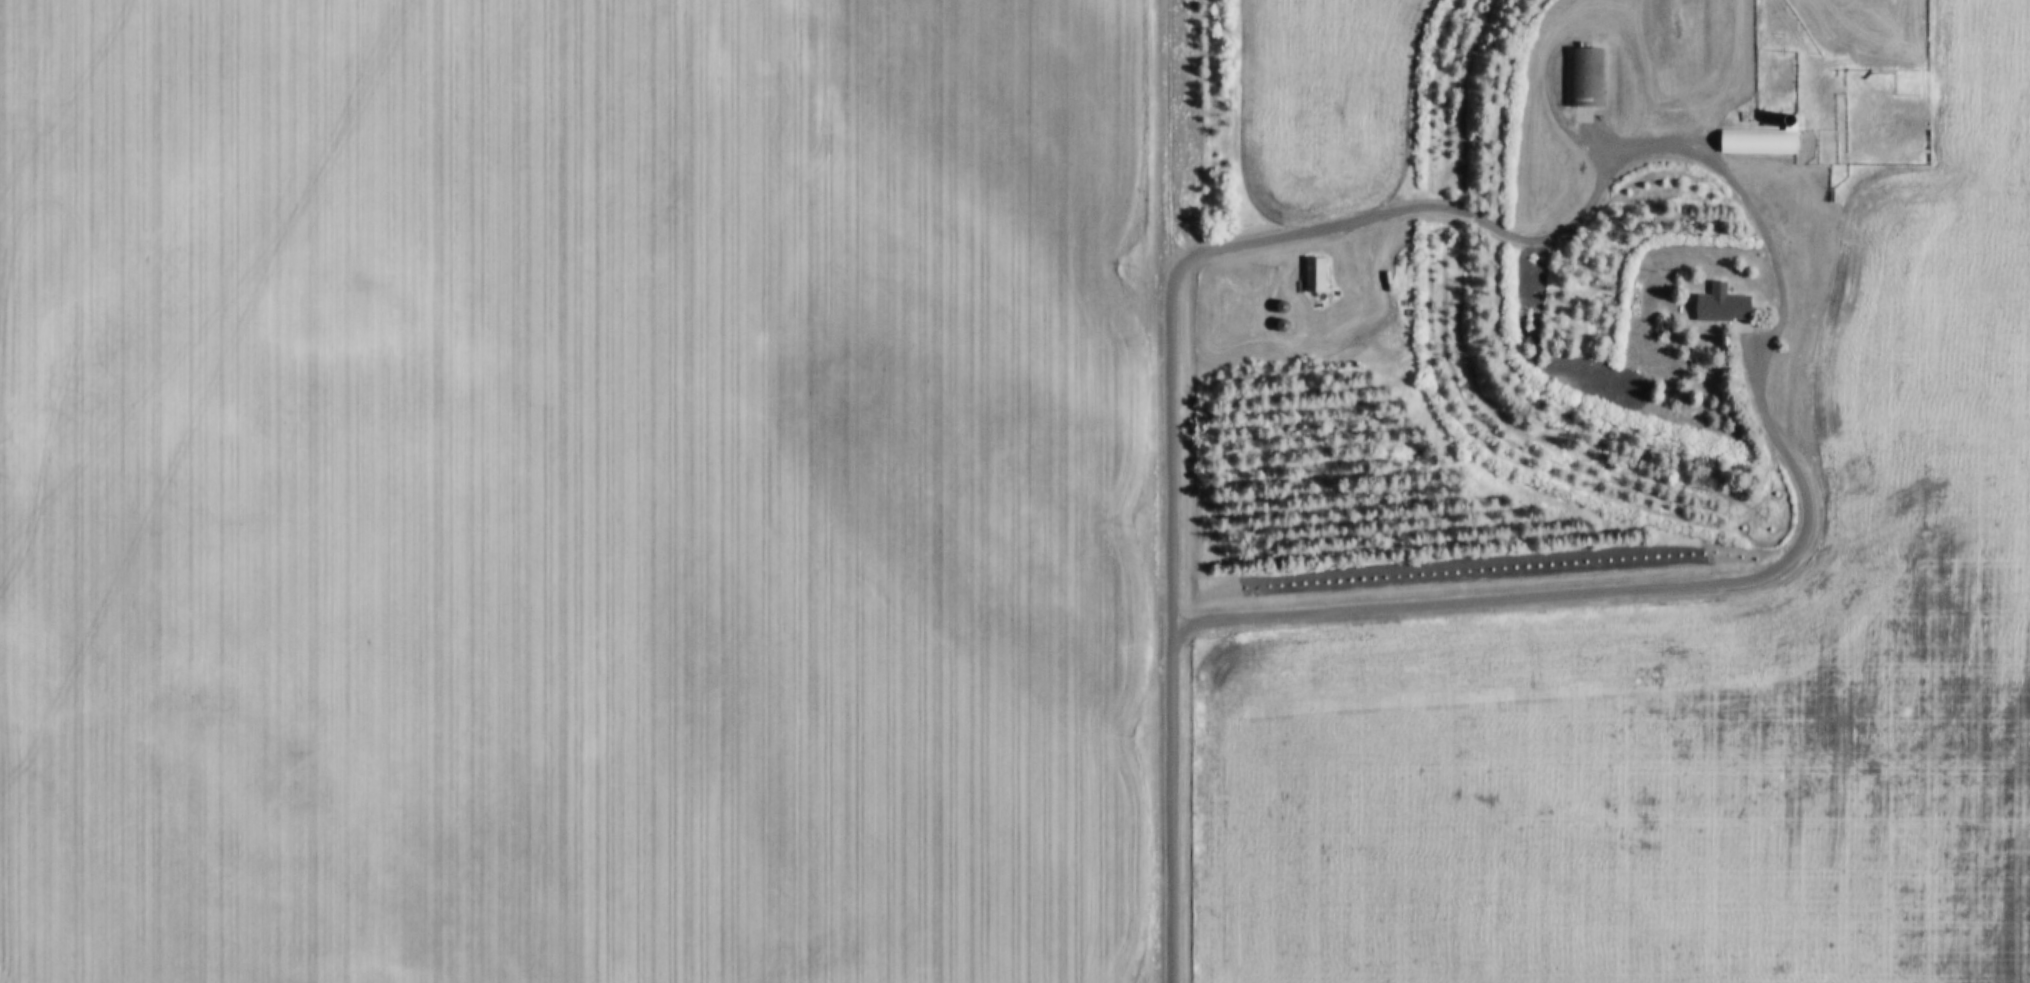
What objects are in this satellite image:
building: (1585, 78)
building: (1768, 122)
road: (1171, 133)
building: (1757, 142)
building: (1315, 276)
building: (1281, 281)
building: (1722, 306)
road: (1758, 395)
road: (1174, 613)

